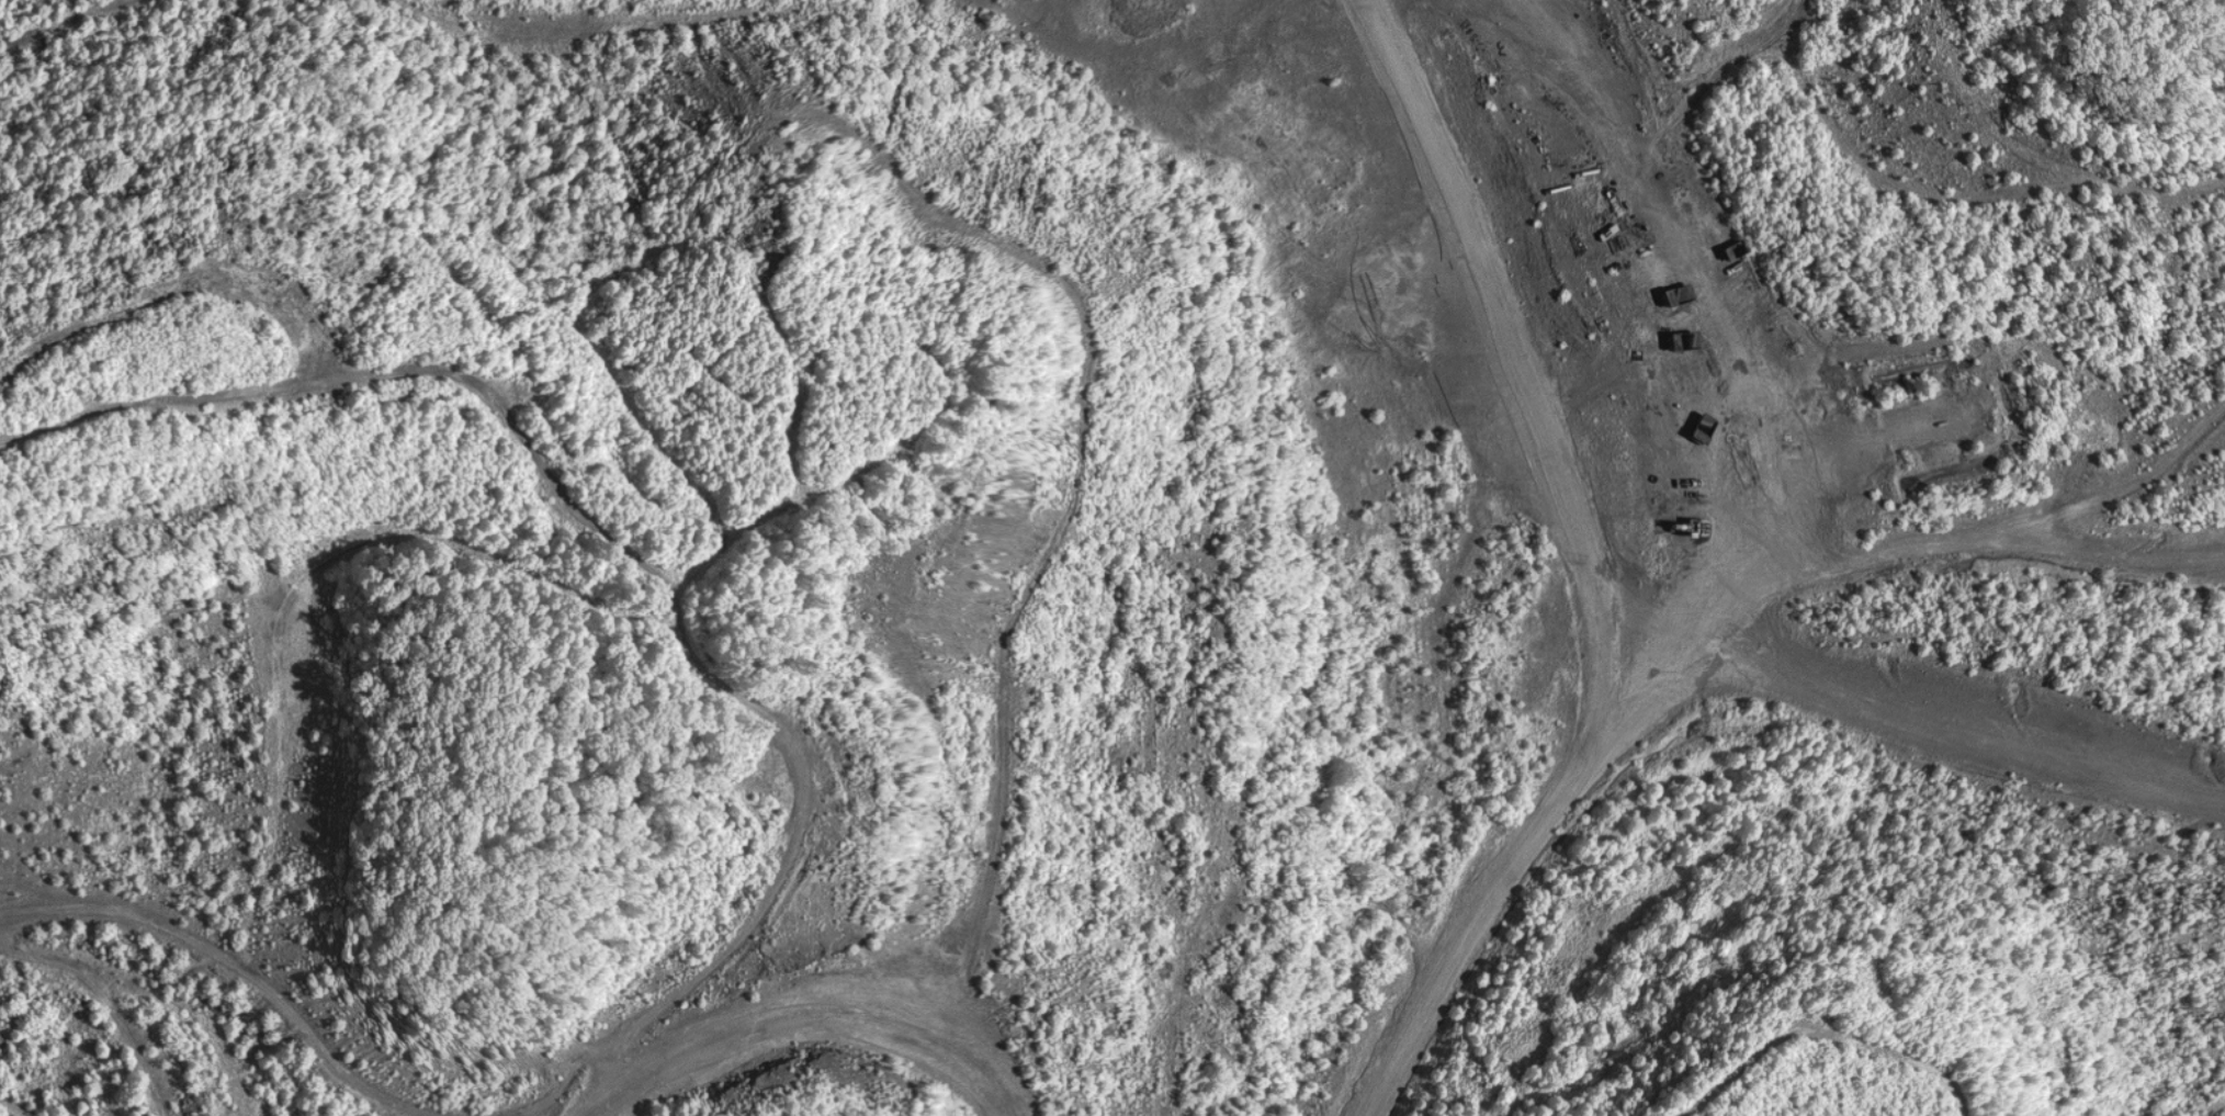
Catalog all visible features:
quarry: (1112, 557)

